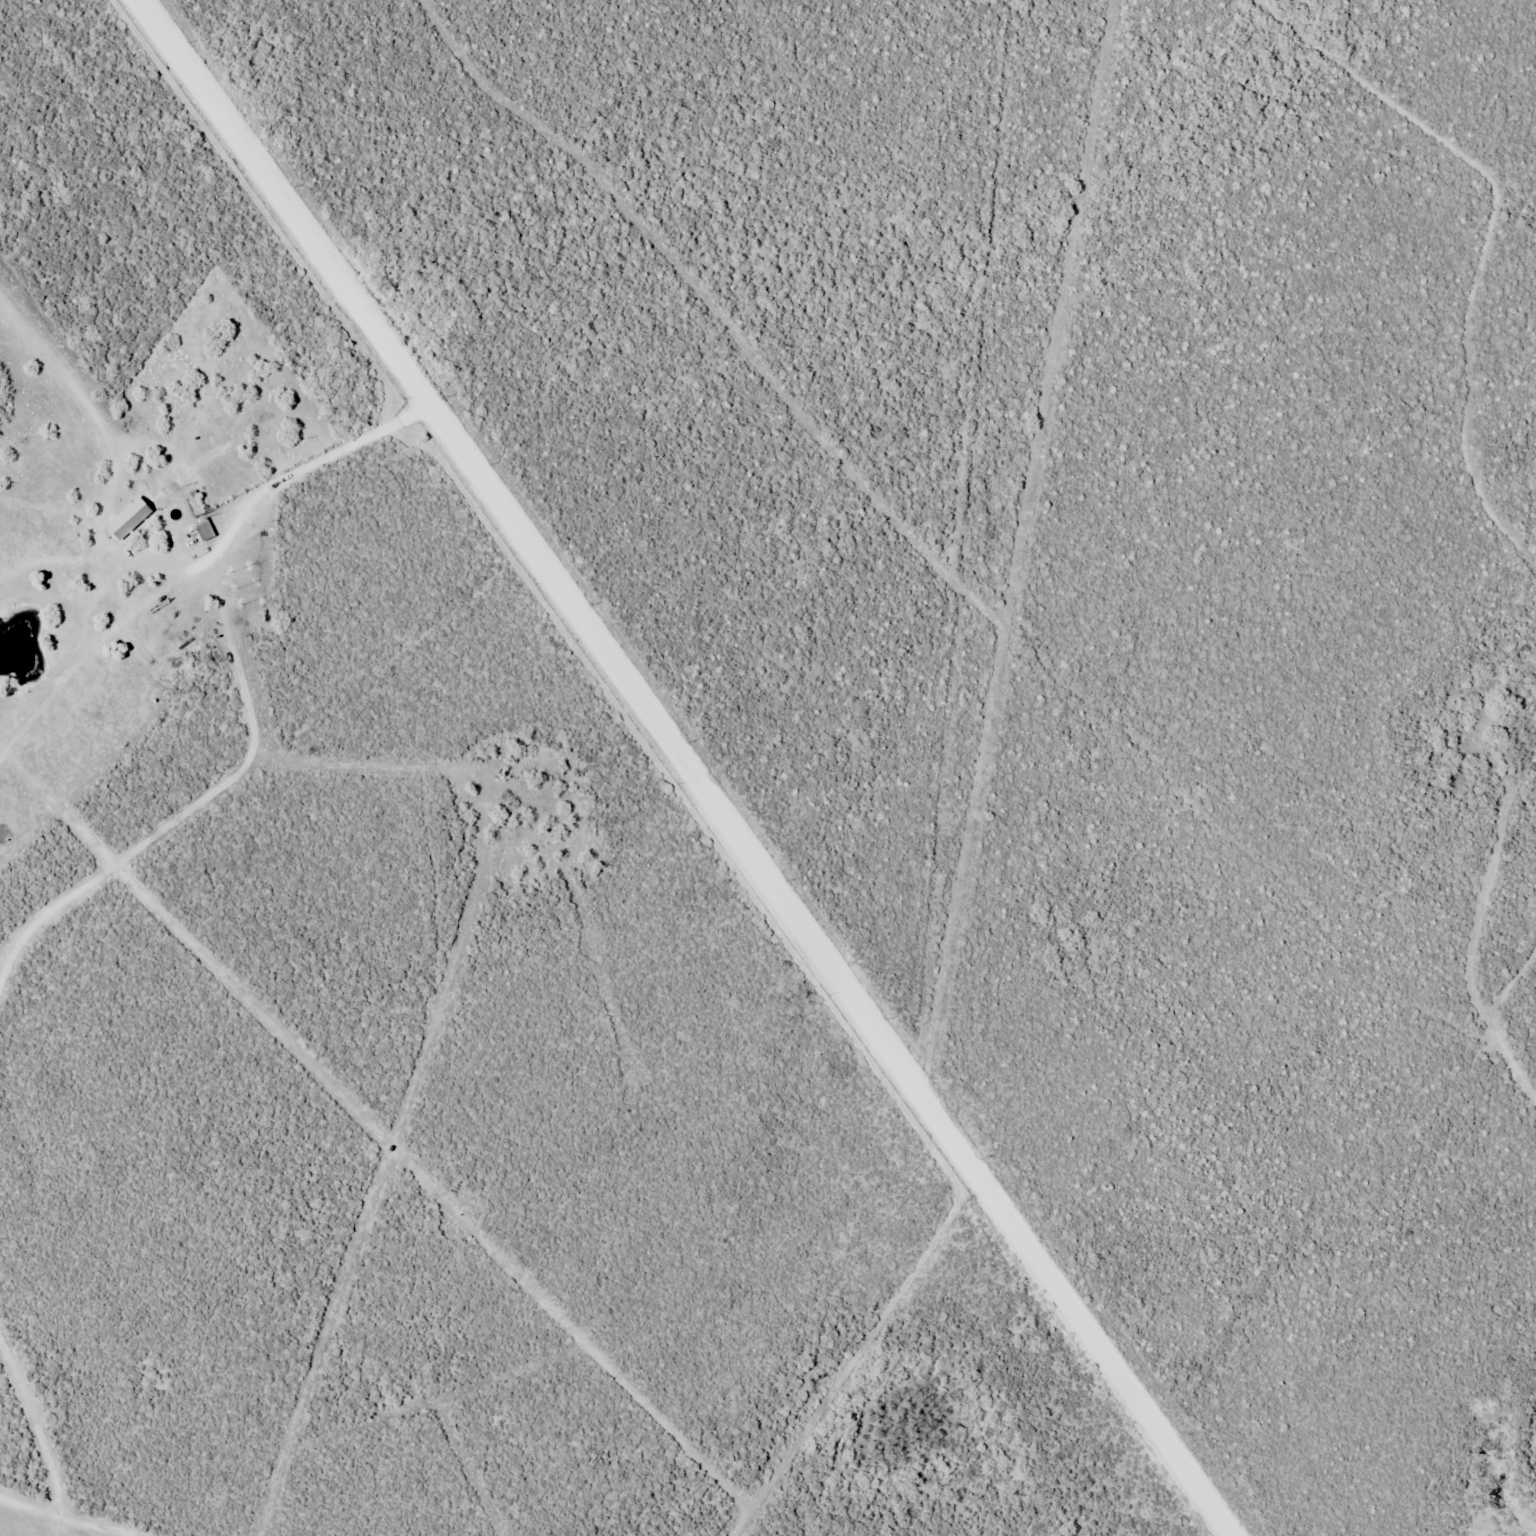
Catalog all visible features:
road: (261, 490)
building: (202, 527)
road: (681, 767)

